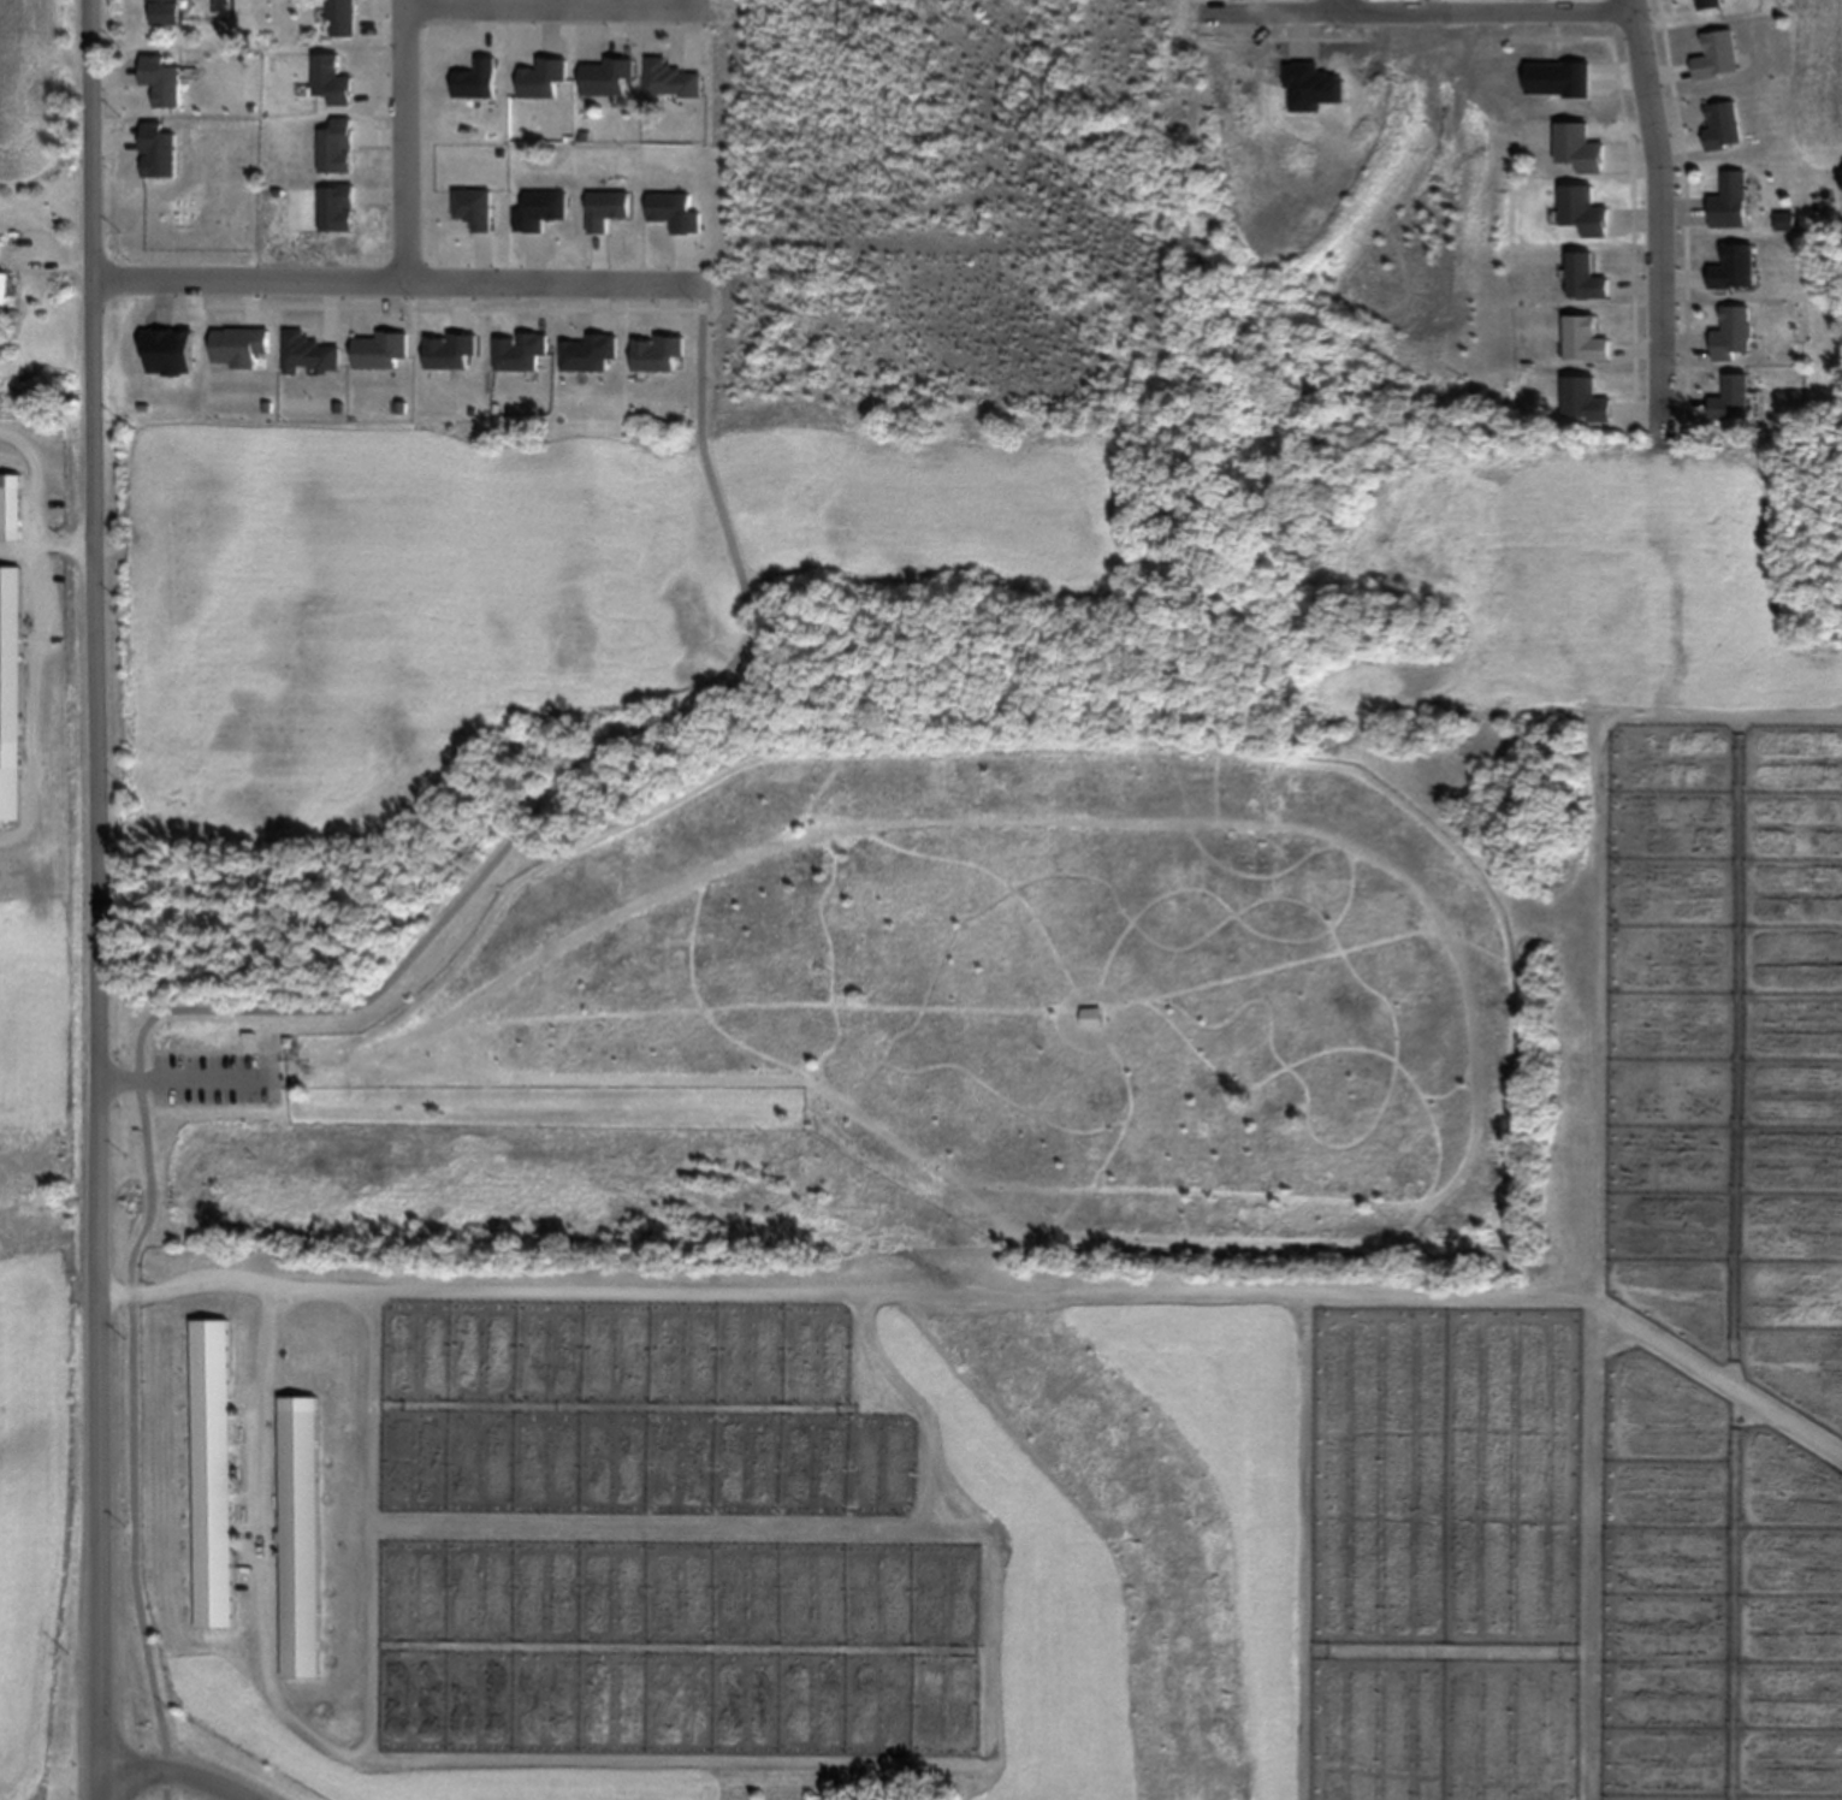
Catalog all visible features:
road: (559, 2)
road: (1335, 4)
road: (1325, 6)
road: (1539, 6)
building: (166, 12)
building: (343, 18)
building: (609, 75)
building: (673, 79)
crop: (1816, 84)
crop: (41, 91)
road: (409, 141)
building: (1730, 200)
crop: (1357, 209)
road: (1659, 211)
building: (1586, 276)
road: (398, 283)
building: (4, 284)
building: (241, 348)
building: (381, 349)
building: (310, 353)
building: (12, 509)
building: (11, 692)
park: (813, 834)
road: (93, 899)
road: (314, 1008)
crop: (42, 1105)
road: (991, 1292)
crop: (1132, 1372)
building: (213, 1473)
building: (298, 1543)
road: (176, 1771)

